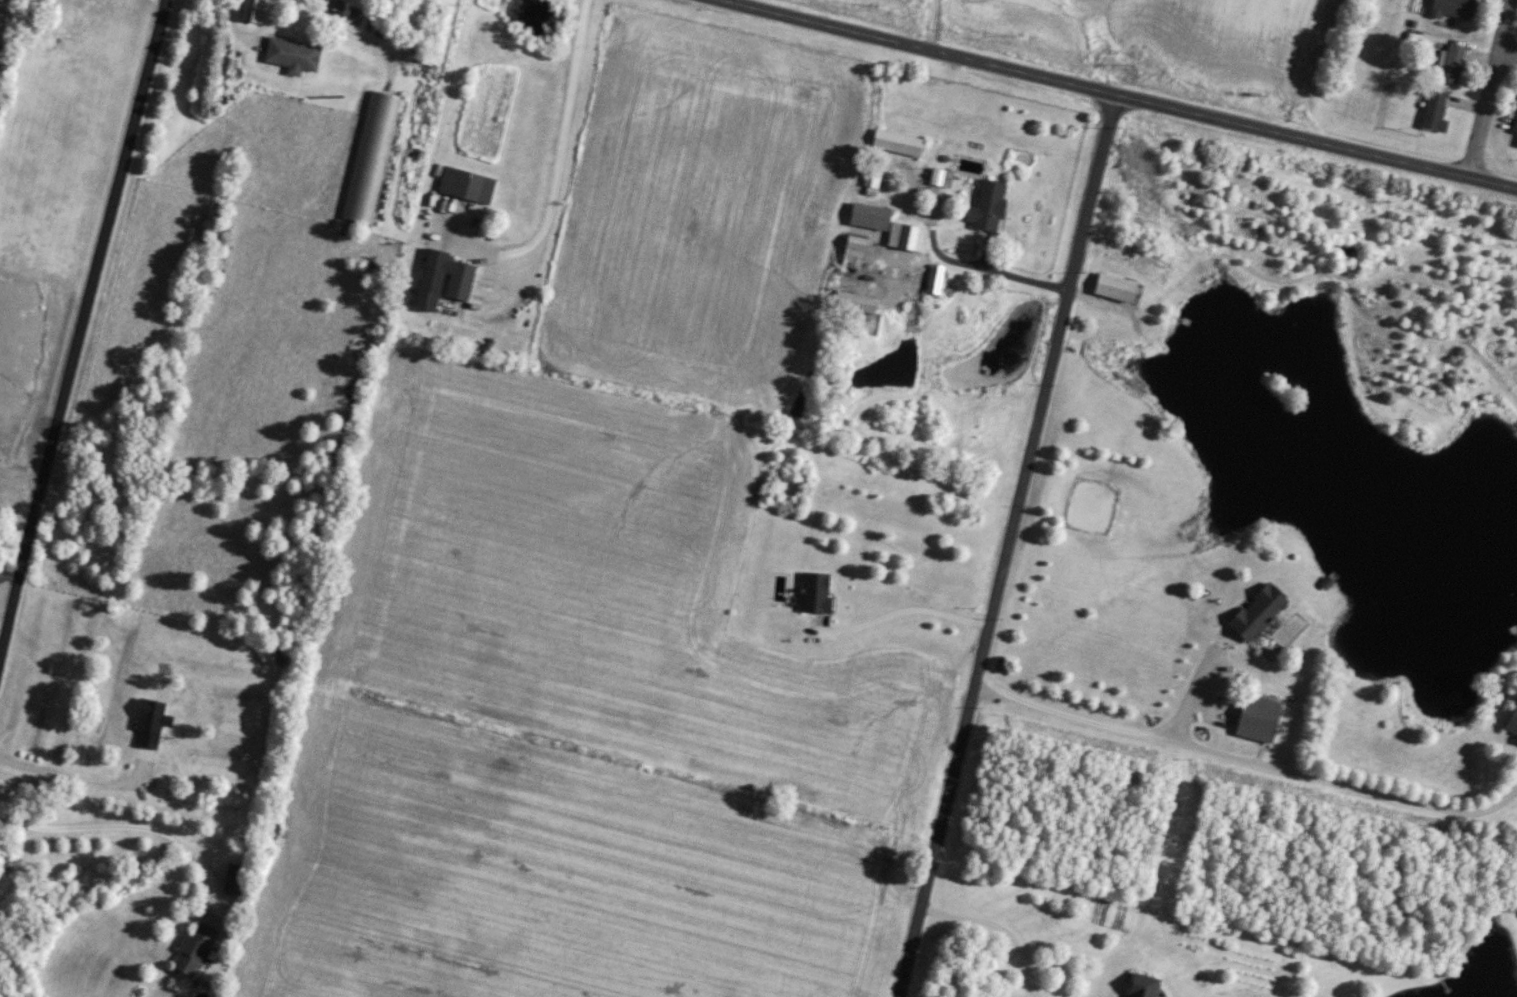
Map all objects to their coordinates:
building: (1453, 9)
building: (255, 11)
road: (343, 26)
road: (822, 26)
road: (1508, 54)
building: (295, 56)
building: (1452, 63)
road: (1490, 88)
building: (1434, 112)
road: (1222, 120)
building: (1514, 124)
building: (895, 143)
building: (1516, 145)
road: (562, 146)
building: (372, 157)
building: (939, 178)
building: (870, 180)
building: (469, 185)
building: (985, 207)
building: (867, 217)
building: (904, 238)
building: (851, 253)
road: (989, 271)
building: (447, 280)
building: (932, 280)
building: (1112, 288)
road: (82, 329)
road: (1008, 546)
building: (819, 592)
road: (899, 610)
building: (1255, 612)
road: (1195, 686)
building: (1255, 717)
building: (1510, 721)
building: (152, 722)
road: (1230, 755)
road: (83, 782)
road: (1505, 795)
road: (137, 827)
building: (237, 879)
road: (998, 928)
building: (197, 949)
building: (1139, 985)

